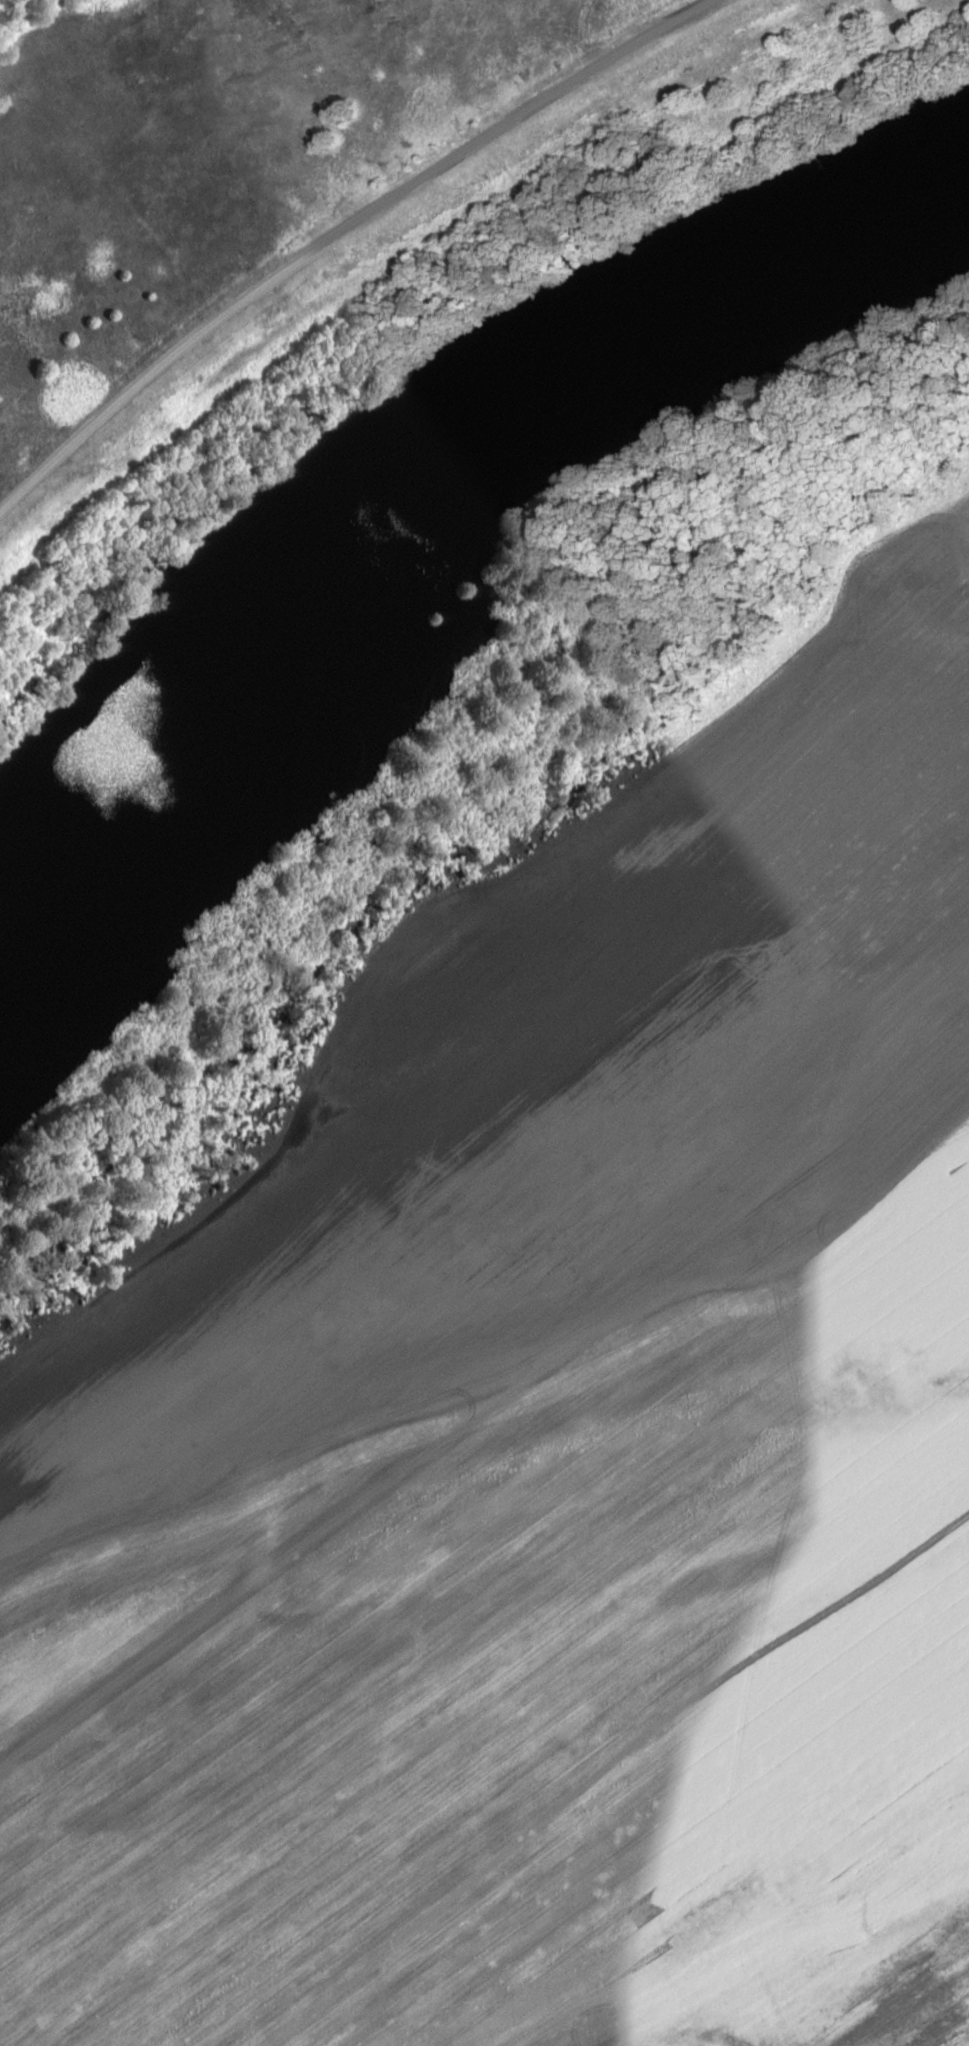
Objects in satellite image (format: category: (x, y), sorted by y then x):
road: (341, 232)

